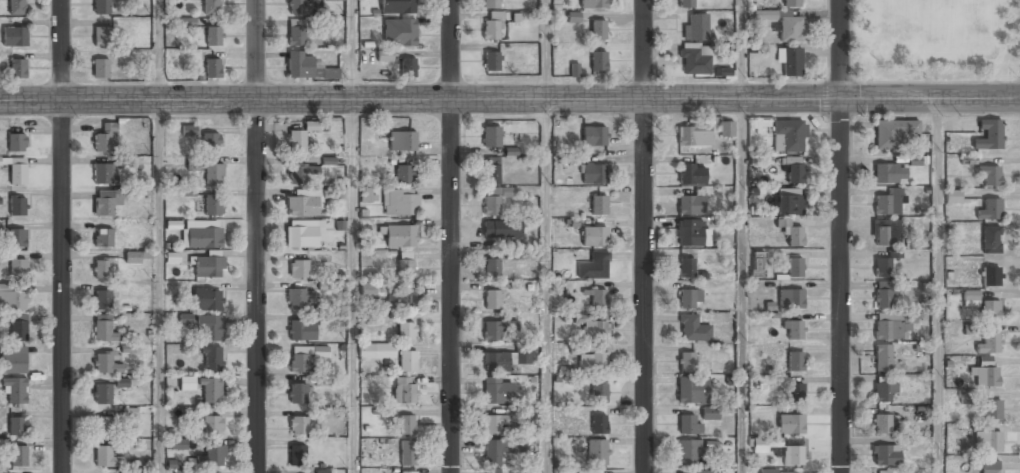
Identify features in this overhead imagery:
building: (334, 0)
building: (792, 3)
building: (491, 4)
building: (593, 4)
building: (686, 4)
building: (16, 7)
building: (101, 7)
building: (211, 7)
building: (303, 7)
building: (397, 7)
building: (573, 17)
building: (493, 26)
building: (696, 27)
building: (790, 28)
building: (597, 30)
building: (296, 33)
building: (399, 33)
building: (15, 37)
building: (101, 37)
building: (213, 37)
park: (937, 40)
road: (850, 41)
road: (158, 50)
road: (352, 50)
road: (546, 50)
road: (741, 50)
building: (385, 55)
building: (491, 61)
building: (598, 61)
building: (694, 61)
building: (791, 62)
building: (299, 65)
building: (212, 68)
building: (408, 68)
building: (18, 69)
building: (101, 69)
road: (838, 82)
road: (937, 84)
road: (509, 100)
traffic signals: (841, 101)
building: (726, 129)
building: (189, 130)
building: (892, 132)
building: (989, 133)
building: (790, 135)
building: (491, 136)
building: (594, 136)
building: (694, 136)
building: (104, 139)
building: (17, 140)
building: (211, 141)
building: (296, 141)
building: (402, 141)
building: (914, 160)
building: (492, 170)
building: (794, 171)
building: (17, 172)
building: (594, 173)
building: (990, 173)
building: (102, 174)
building: (213, 174)
building: (303, 174)
building: (404, 174)
building: (691, 174)
building: (889, 174)
building: (509, 191)
building: (953, 196)
building: (492, 201)
building: (105, 202)
building: (399, 202)
building: (888, 202)
building: (17, 204)
building: (598, 205)
building: (690, 205)
building: (789, 205)
building: (213, 206)
building: (302, 206)
building: (990, 209)
building: (502, 229)
building: (791, 233)
building: (886, 233)
building: (689, 234)
building: (17, 236)
road: (62, 236)
road: (256, 236)
building: (400, 236)
road: (451, 236)
building: (594, 236)
road: (643, 236)
road: (840, 236)
building: (201, 237)
building: (301, 237)
building: (104, 239)
building: (990, 240)
building: (894, 254)
building: (513, 255)
building: (137, 256)
building: (757, 264)
building: (208, 266)
building: (593, 266)
building: (18, 267)
building: (795, 267)
building: (882, 267)
building: (406, 268)
building: (685, 268)
building: (101, 269)
building: (491, 269)
building: (298, 270)
building: (990, 277)
road: (352, 286)
road: (547, 286)
road: (741, 286)
road: (938, 286)
road: (158, 287)
building: (882, 295)
building: (13, 298)
building: (598, 298)
building: (791, 298)
building: (102, 299)
building: (206, 299)
building: (401, 299)
building: (688, 299)
building: (970, 299)
building: (298, 300)
building: (492, 300)
building: (990, 309)
building: (187, 318)
building: (337, 318)
building: (210, 328)
building: (18, 329)
building: (104, 329)
building: (595, 329)
building: (692, 329)
building: (793, 329)
building: (301, 330)
building: (495, 330)
building: (888, 330)
building: (406, 332)
building: (989, 342)
building: (377, 350)
building: (524, 357)
building: (882, 358)
building: (13, 359)
building: (212, 360)
building: (795, 360)
building: (299, 361)
building: (407, 361)
building: (686, 361)
building: (496, 362)
building: (105, 363)
building: (593, 363)
building: (985, 372)
building: (323, 380)
building: (123, 382)
building: (187, 383)
building: (15, 390)
building: (404, 390)
building: (692, 390)
building: (795, 390)
building: (211, 391)
building: (498, 392)
building: (884, 392)
building: (599, 393)
building: (102, 394)
building: (297, 394)
building: (965, 396)
building: (993, 409)
building: (130, 412)
building: (325, 412)
building: (710, 414)
building: (496, 424)
building: (599, 424)
building: (790, 424)
building: (882, 424)
building: (407, 425)
building: (687, 425)
building: (17, 426)
building: (104, 426)
building: (212, 426)
building: (298, 426)
building: (987, 440)
building: (127, 443)
building: (178, 443)
building: (766, 445)
building: (501, 450)
building: (597, 451)
building: (407, 453)
building: (687, 453)
building: (297, 455)
building: (886, 455)
building: (18, 456)
building: (212, 456)
building: (793, 456)
building: (107, 457)
building: (989, 467)
building: (4, 471)
building: (128, 471)
building: (183, 471)
building: (588, 471)
building: (768, 471)
building: (408, 472)
building: (492, 472)
building: (697, 472)
building: (787, 472)
building: (882, 472)

